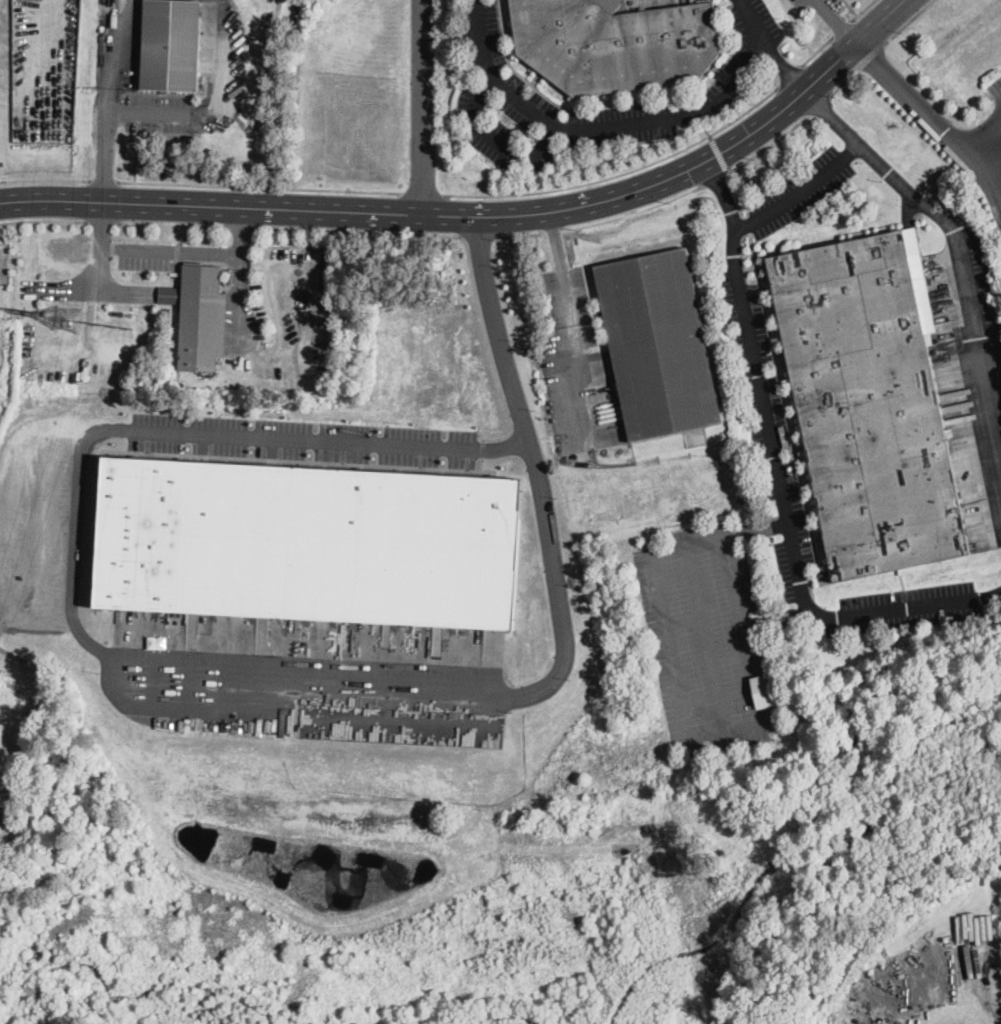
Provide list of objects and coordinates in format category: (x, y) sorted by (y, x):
road: (861, 9)
road: (751, 18)
road: (908, 21)
road: (836, 23)
road: (841, 27)
building: (615, 43)
building: (171, 44)
road: (765, 44)
road: (816, 50)
road: (116, 55)
road: (871, 56)
road: (788, 70)
road: (788, 74)
road: (843, 82)
road: (214, 103)
road: (819, 104)
road: (424, 106)
road: (833, 117)
road: (935, 121)
road: (598, 125)
road: (704, 127)
road: (990, 133)
road: (495, 140)
road: (768, 144)
road: (718, 152)
road: (104, 155)
road: (622, 172)
road: (715, 177)
road: (44, 178)
road: (102, 180)
road: (259, 186)
road: (799, 190)
road: (423, 192)
road: (723, 193)
road: (1000, 208)
road: (635, 211)
road: (486, 216)
road: (42, 220)
road: (102, 221)
road: (171, 224)
road: (242, 226)
road: (360, 231)
road: (553, 231)
road: (520, 234)
road: (479, 235)
road: (183, 252)
road: (965, 276)
building: (169, 294)
power tower: (28, 310)
road: (573, 316)
building: (202, 317)
power tower: (63, 320)
power tower: (113, 324)
road: (279, 330)
building: (658, 344)
road: (488, 348)
building: (870, 403)
parking lot: (300, 439)
road: (787, 515)
building: (308, 540)
road: (234, 659)
road: (679, 685)
building: (763, 690)
road: (193, 709)
park: (918, 724)
park: (899, 812)
road: (952, 1018)

